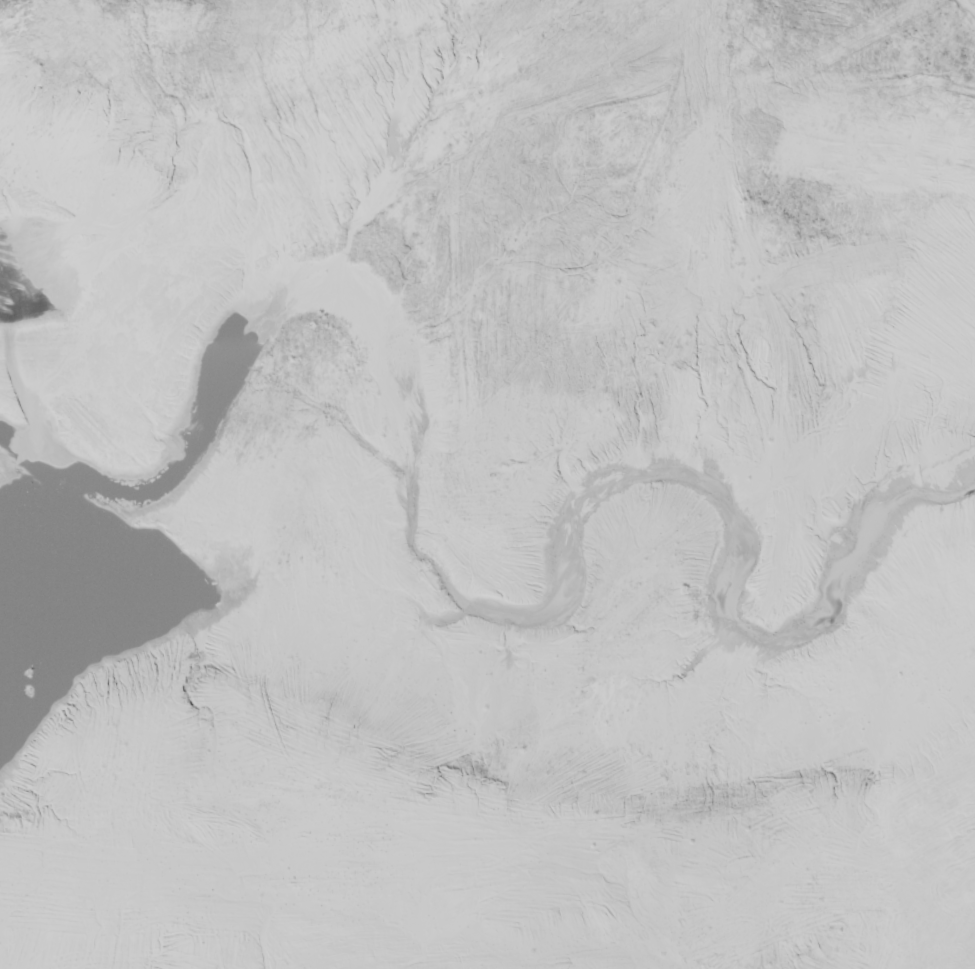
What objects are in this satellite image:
quarry: (488, 483)

